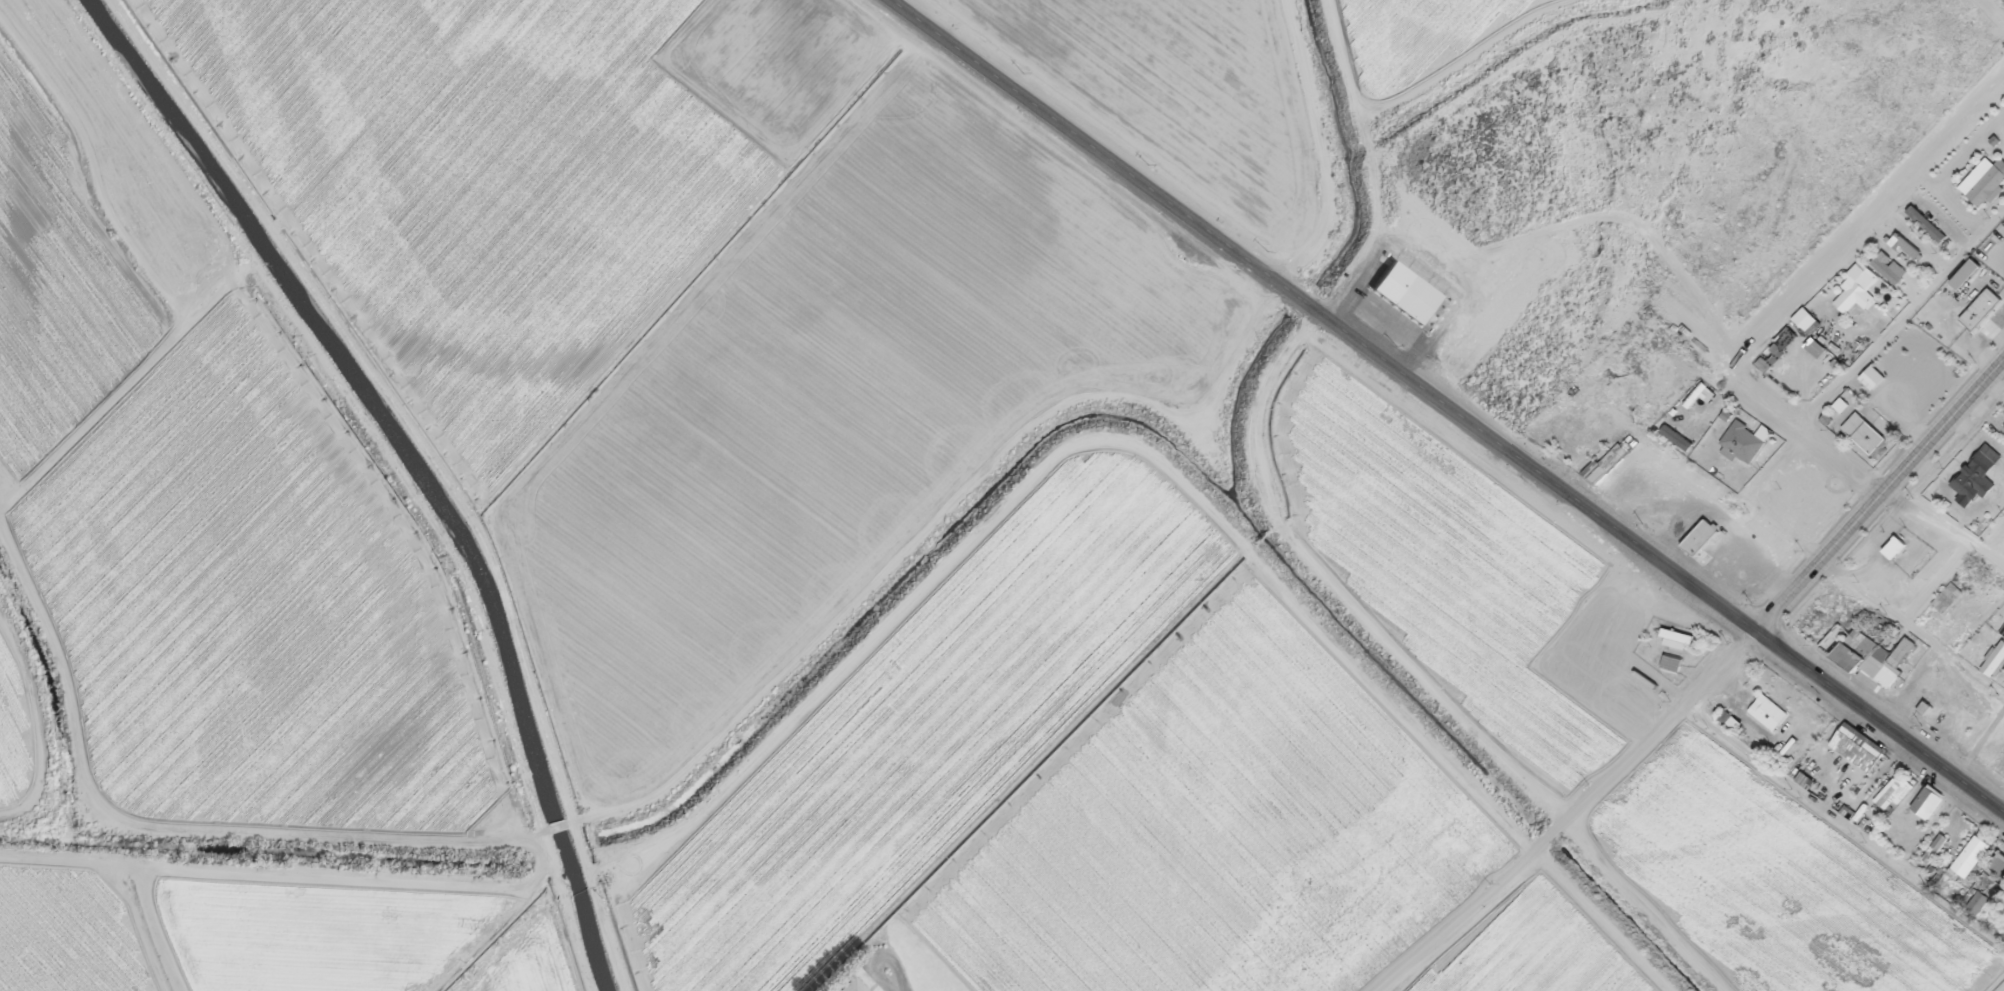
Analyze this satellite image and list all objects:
road: (1991, 12)
building: (1984, 179)
building: (1925, 223)
road: (1863, 231)
building: (1905, 246)
road: (1231, 248)
building: (1888, 267)
building: (1967, 271)
building: (1857, 291)
building: (1402, 298)
building: (1981, 306)
road: (1902, 324)
building: (1931, 355)
building: (1873, 375)
road: (1802, 440)
building: (1607, 462)
building: (1977, 470)
road: (1882, 504)
road: (1943, 536)
road: (1990, 537)
road: (927, 539)
building: (1694, 544)
building: (1895, 544)
road: (1661, 564)
building: (1947, 598)
building: (1855, 646)
building: (1891, 654)
building: (1994, 657)
building: (1672, 662)
building: (1768, 709)
road: (1878, 723)
building: (1856, 745)
building: (1927, 799)
road: (1564, 811)
road: (160, 833)
road: (551, 836)
building: (1973, 854)
road: (913, 965)
building: (855, 985)

